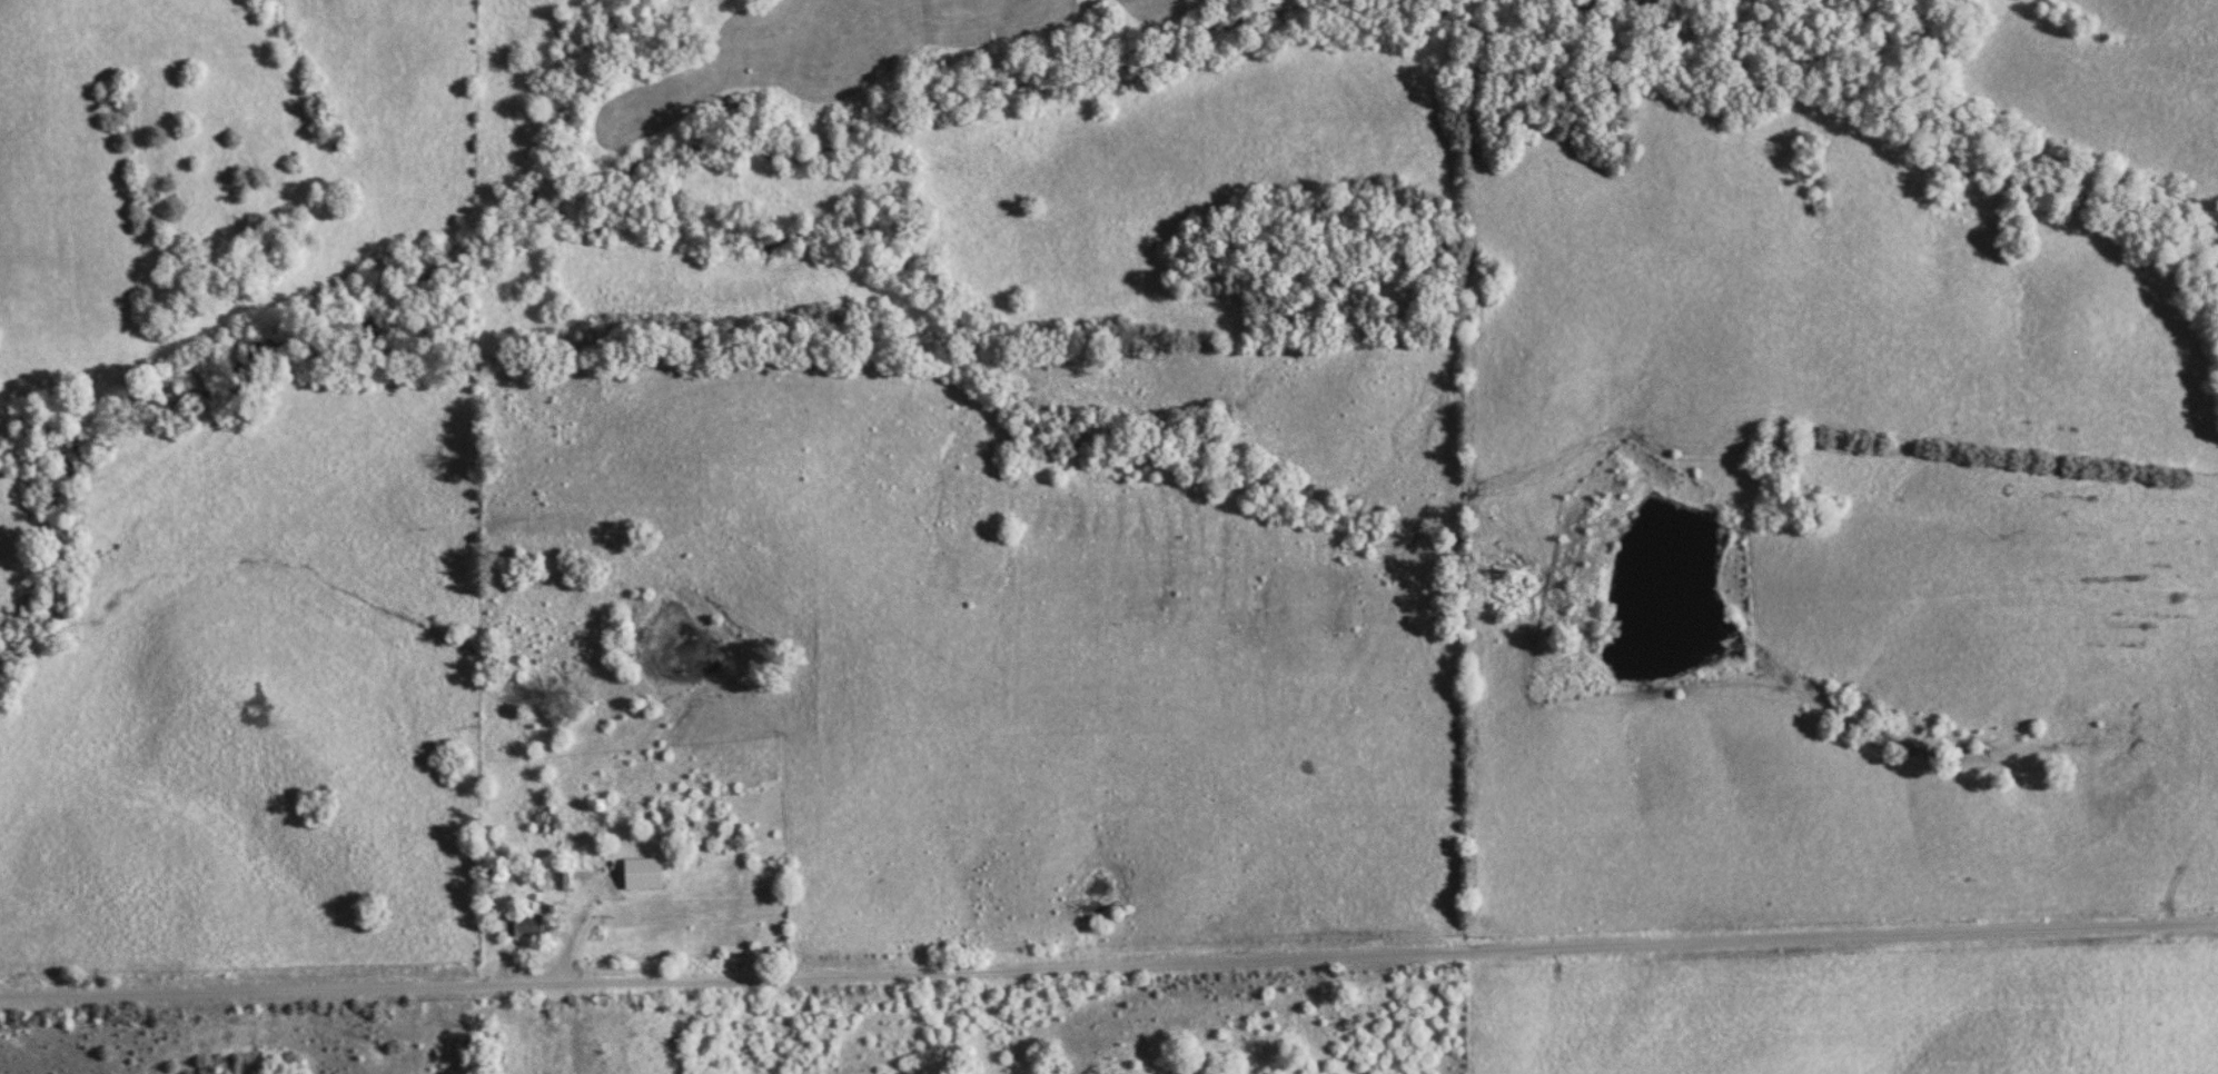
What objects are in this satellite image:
building: (586, 893)
building: (521, 926)
road: (1109, 963)

